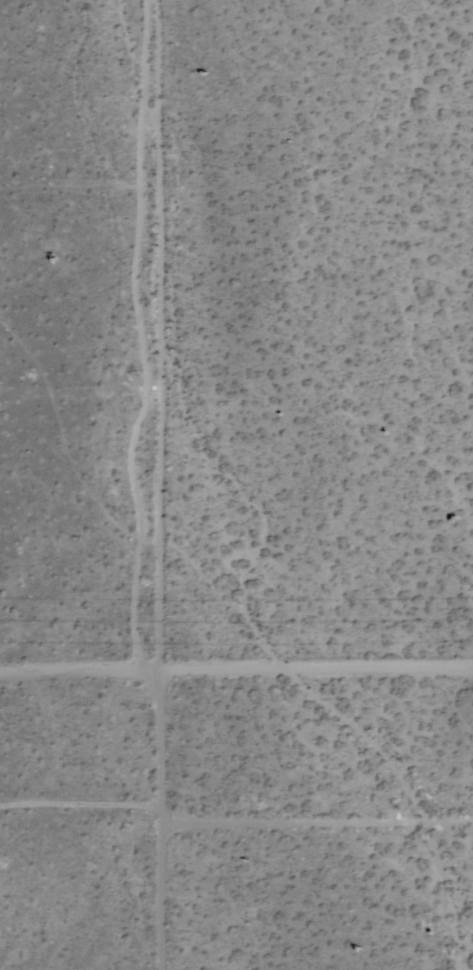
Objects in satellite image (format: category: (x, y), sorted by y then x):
road: (154, 485)
road: (236, 679)

